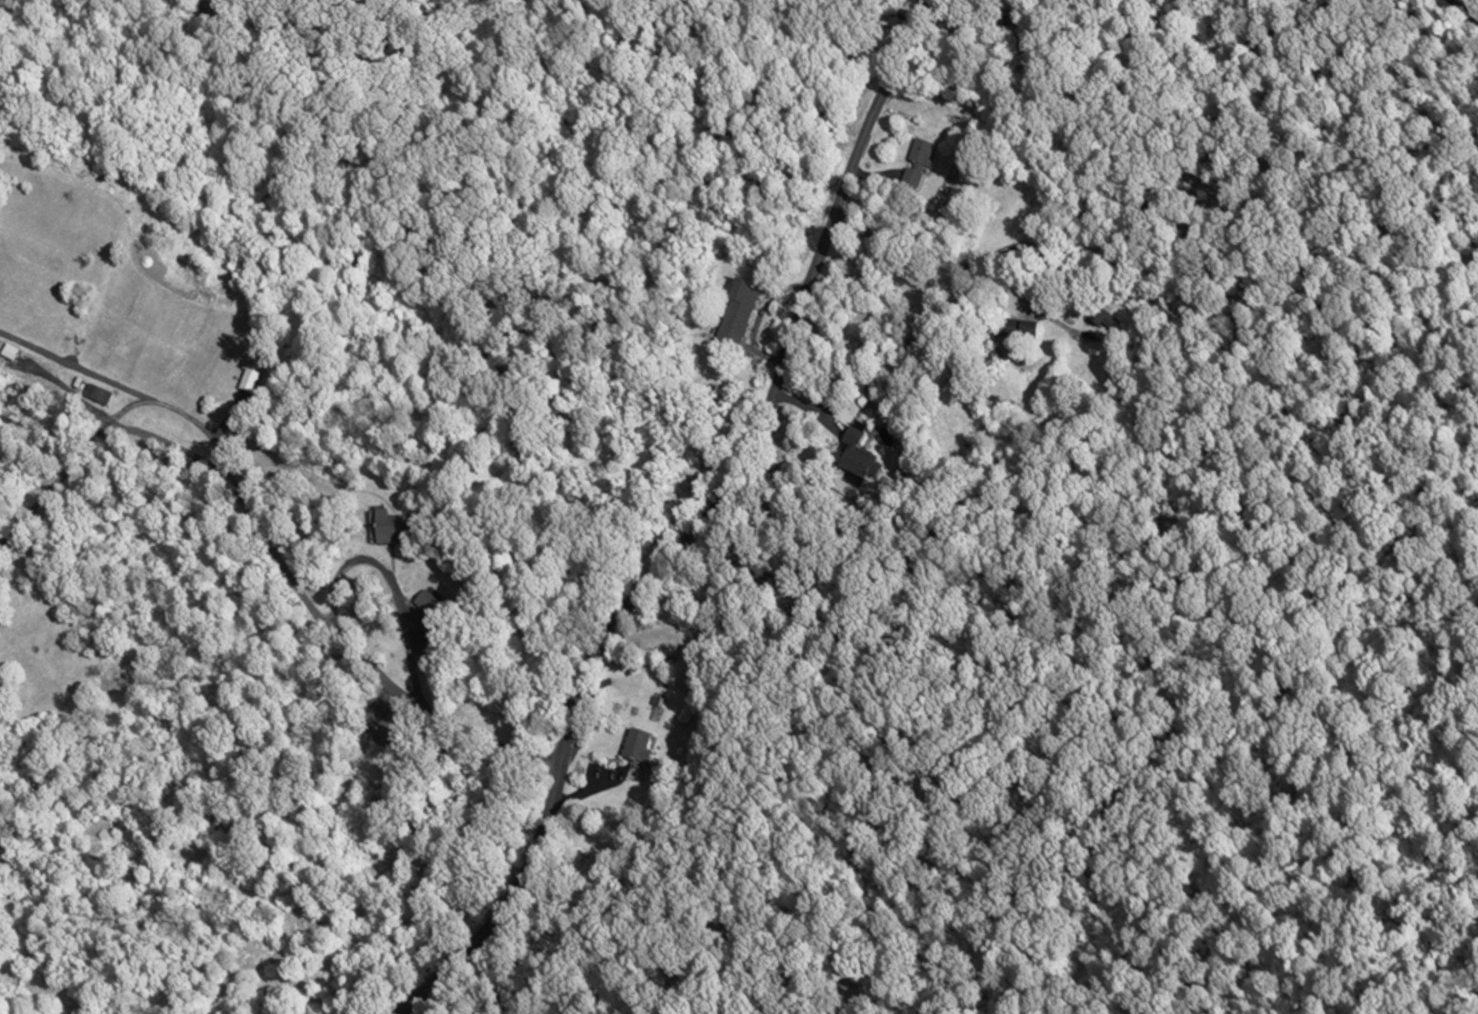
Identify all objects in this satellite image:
road: (1463, 12)
building: (920, 164)
road: (871, 176)
road: (981, 260)
building: (736, 310)
building: (1103, 315)
road: (757, 317)
building: (1017, 326)
building: (10, 351)
road: (74, 366)
building: (249, 378)
building: (93, 391)
road: (807, 404)
road: (184, 415)
road: (230, 419)
building: (855, 453)
building: (391, 523)
road: (689, 529)
road: (267, 545)
road: (391, 581)
building: (419, 601)
building: (657, 644)
building: (636, 744)
road: (581, 792)

